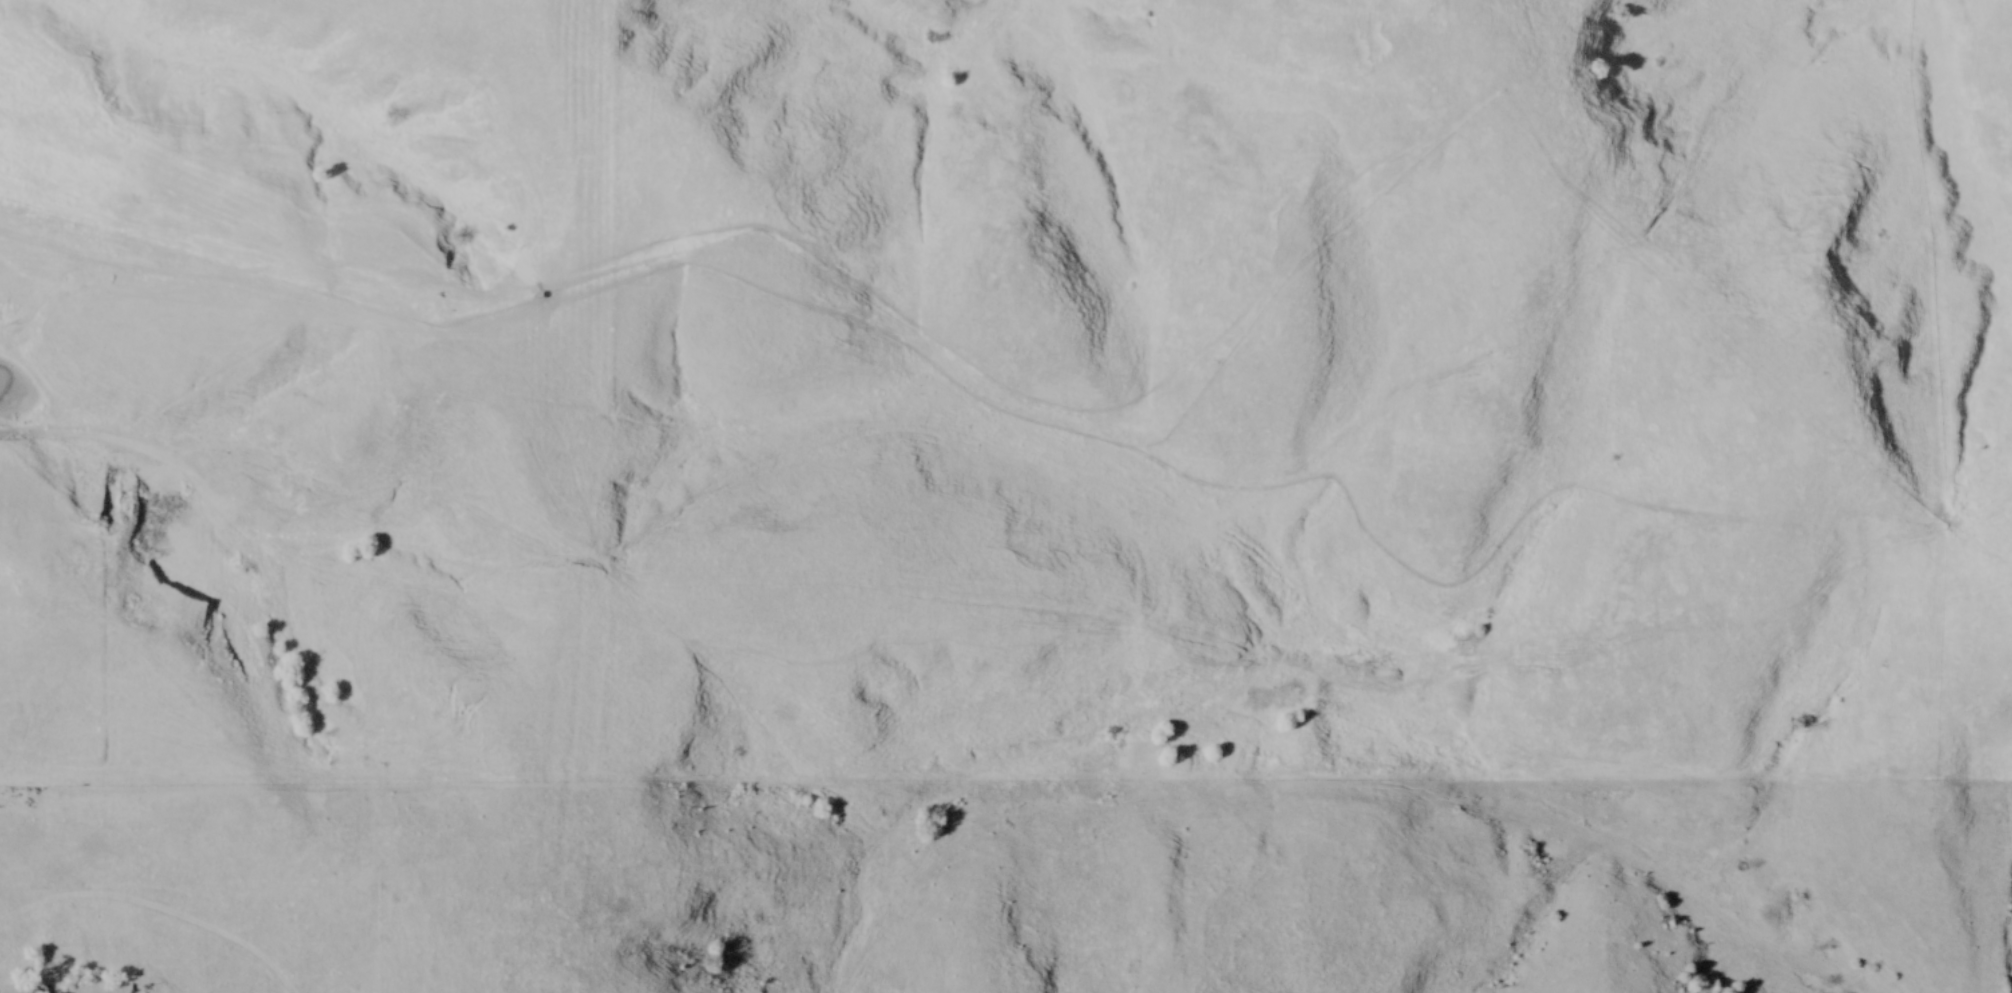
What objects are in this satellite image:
building: (33, 992)

